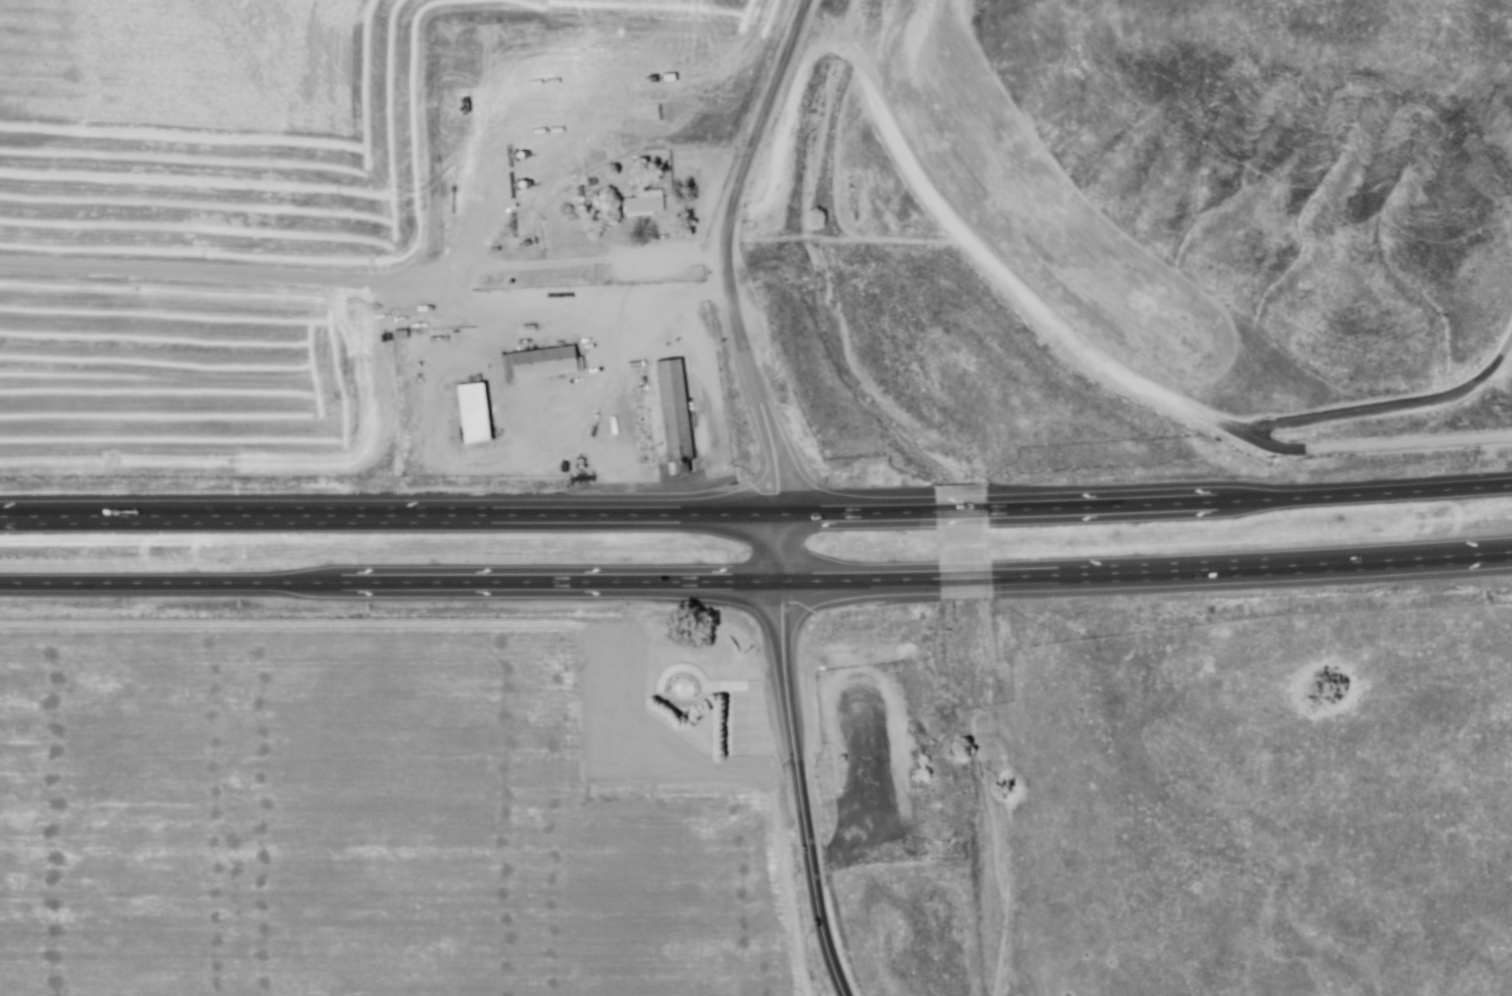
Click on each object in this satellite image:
building: (642, 203)
road: (725, 258)
road: (363, 273)
building: (538, 360)
building: (672, 409)
building: (472, 414)
road: (1490, 437)
crop: (1501, 474)
road: (1252, 510)
road: (959, 522)
road: (851, 524)
road: (387, 525)
road: (777, 551)
road: (1145, 571)
road: (388, 577)
fountain: (683, 687)
road: (798, 789)

